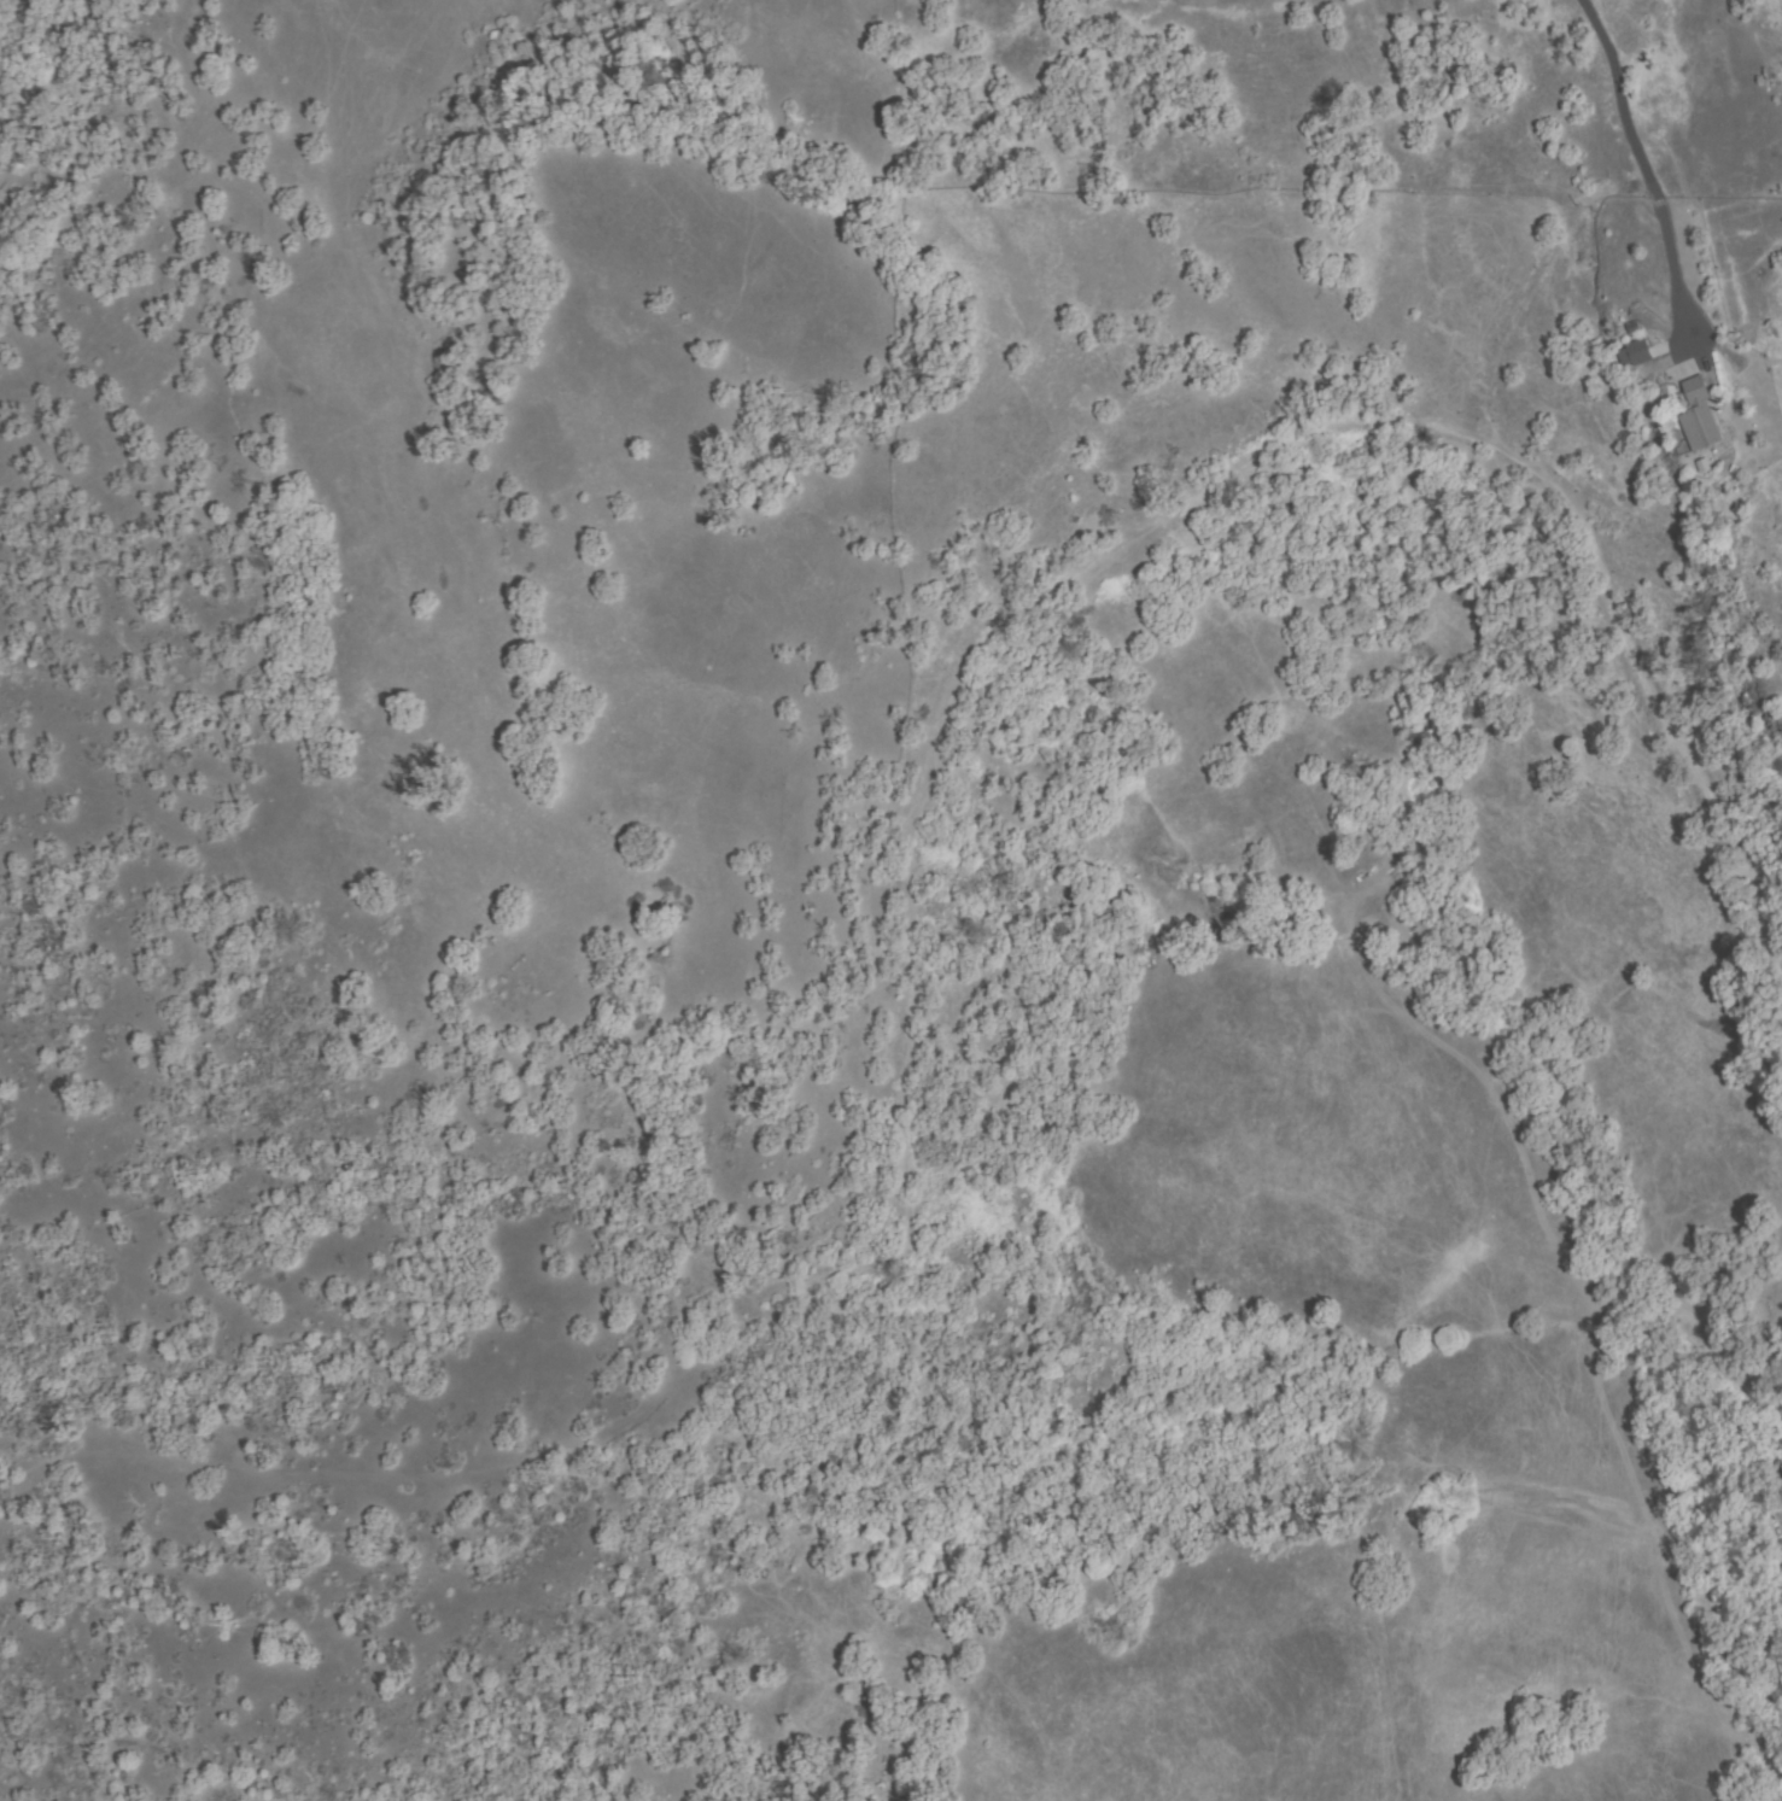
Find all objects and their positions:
building: (1636, 353)
building: (1699, 420)

